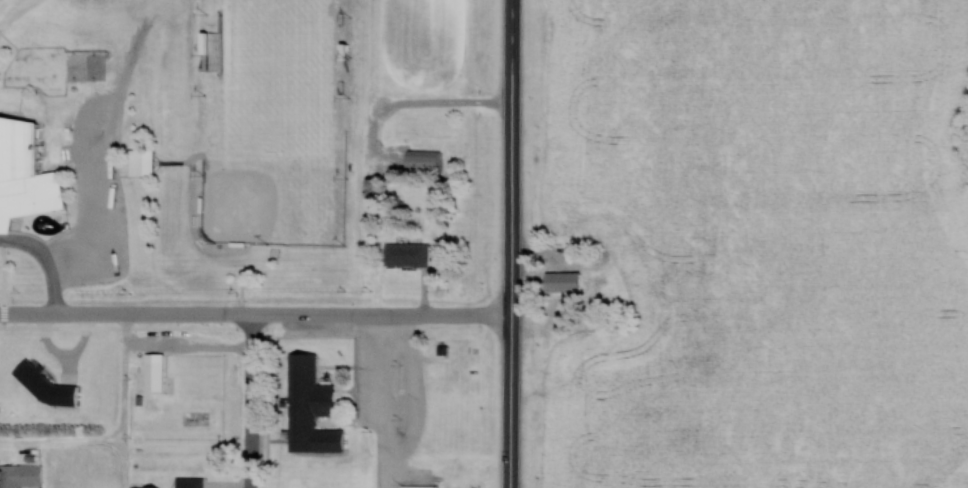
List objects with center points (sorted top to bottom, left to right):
building: (421, 159)
building: (143, 161)
building: (24, 173)
road: (513, 243)
building: (575, 250)
building: (613, 250)
building: (405, 254)
building: (563, 281)
road: (256, 314)
road: (250, 401)
building: (308, 407)
building: (17, 474)

